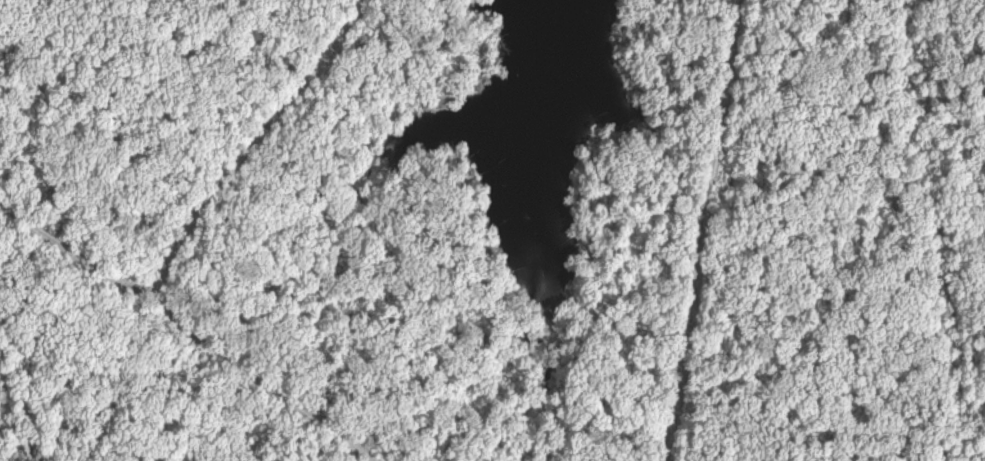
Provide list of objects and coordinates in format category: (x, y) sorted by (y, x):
road: (245, 145)
road: (692, 229)
road: (184, 329)

